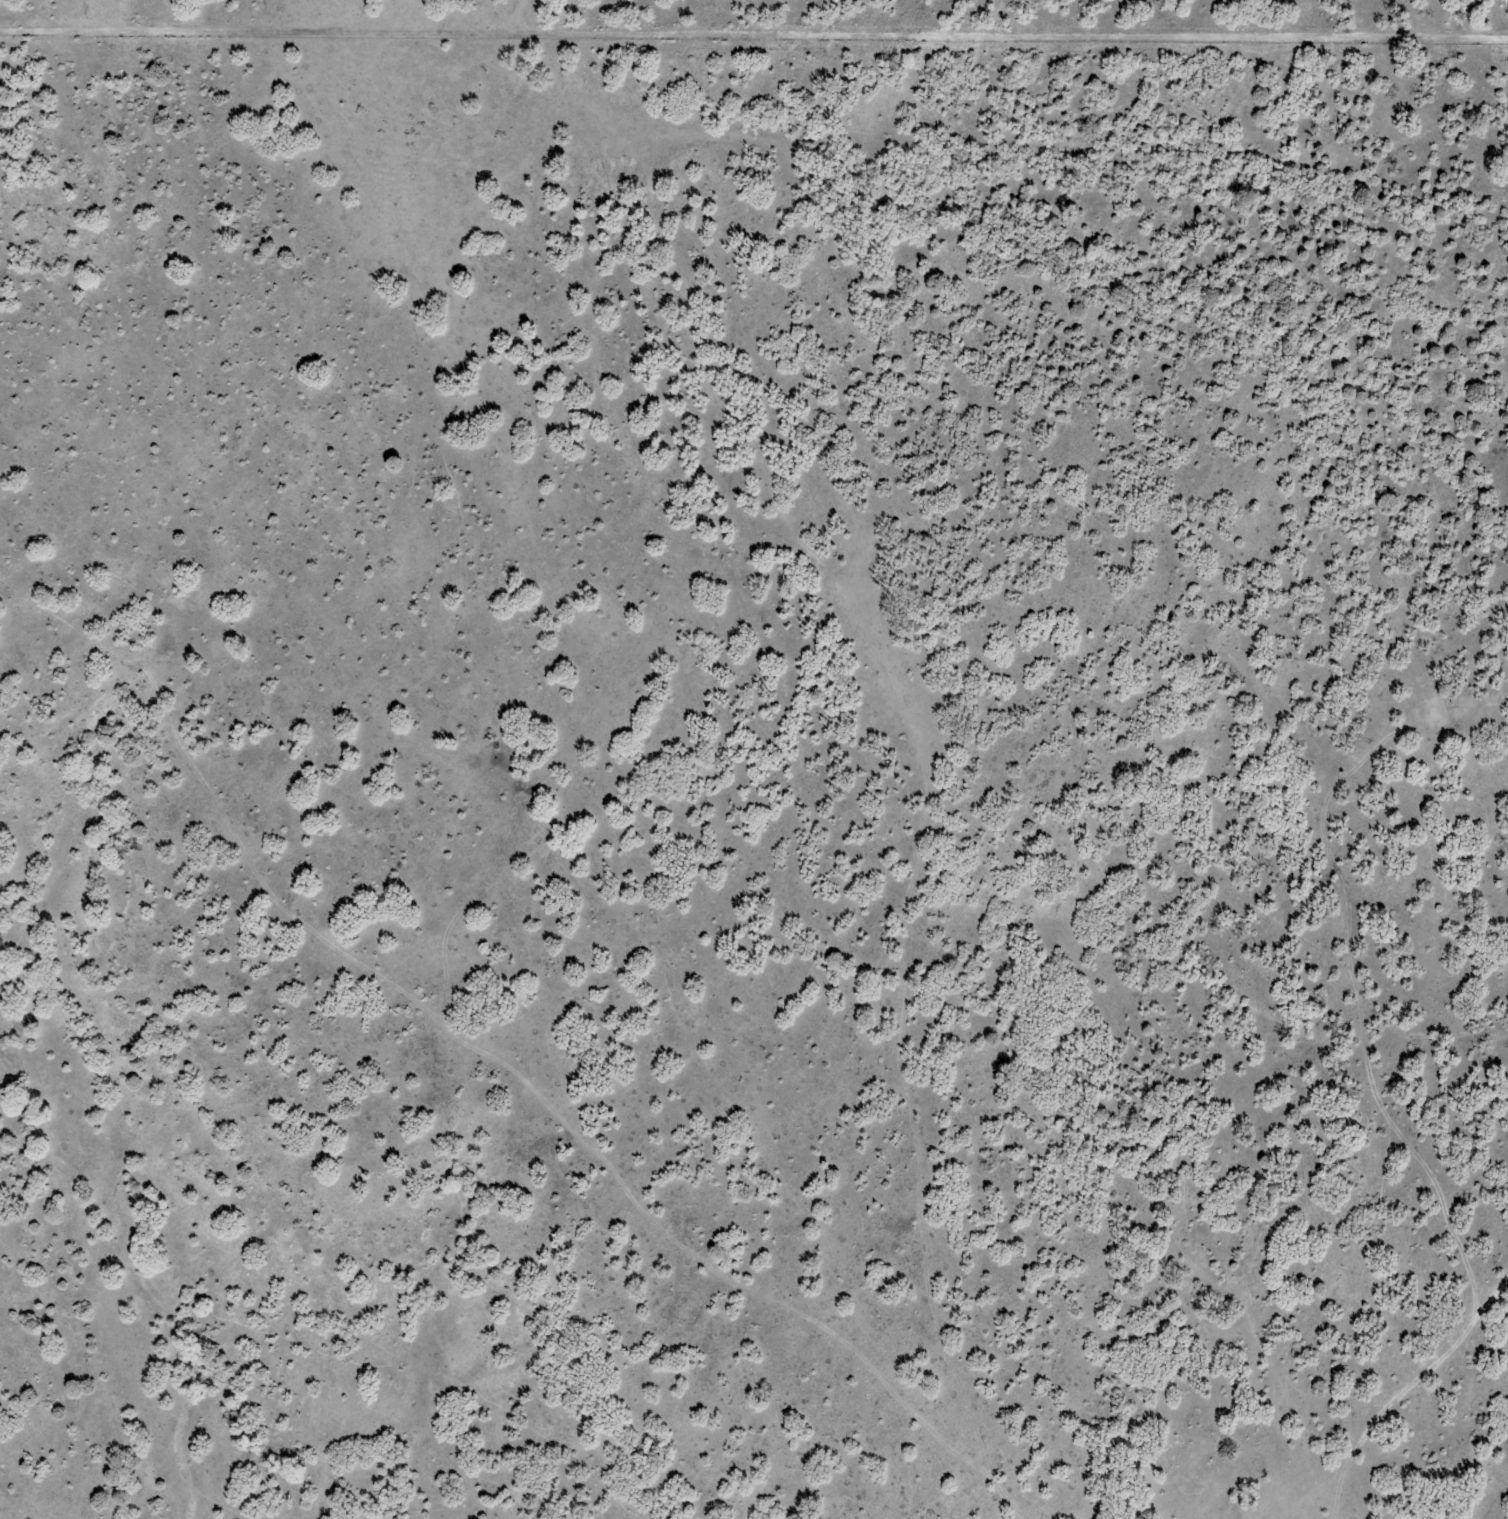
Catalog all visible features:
road: (907, 725)
road: (1391, 1397)

